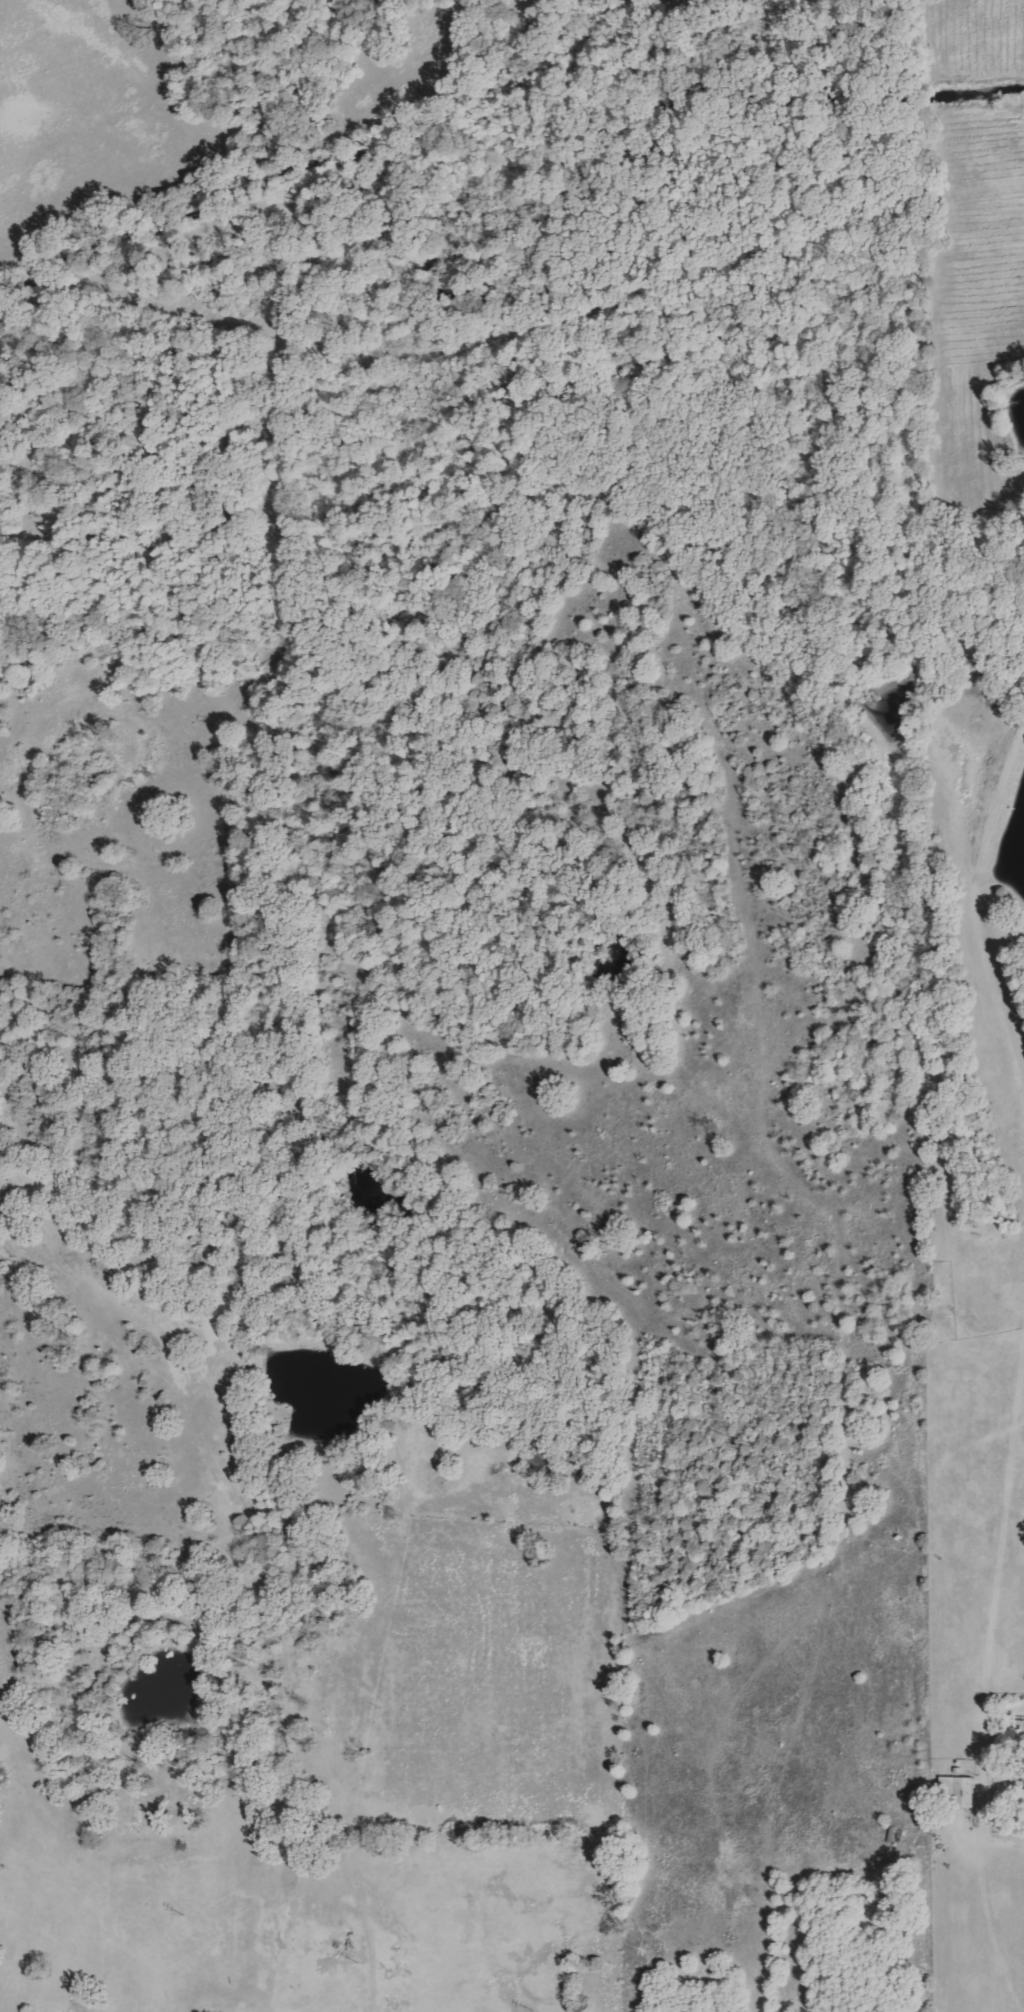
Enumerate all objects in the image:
building: (960, 1790)

